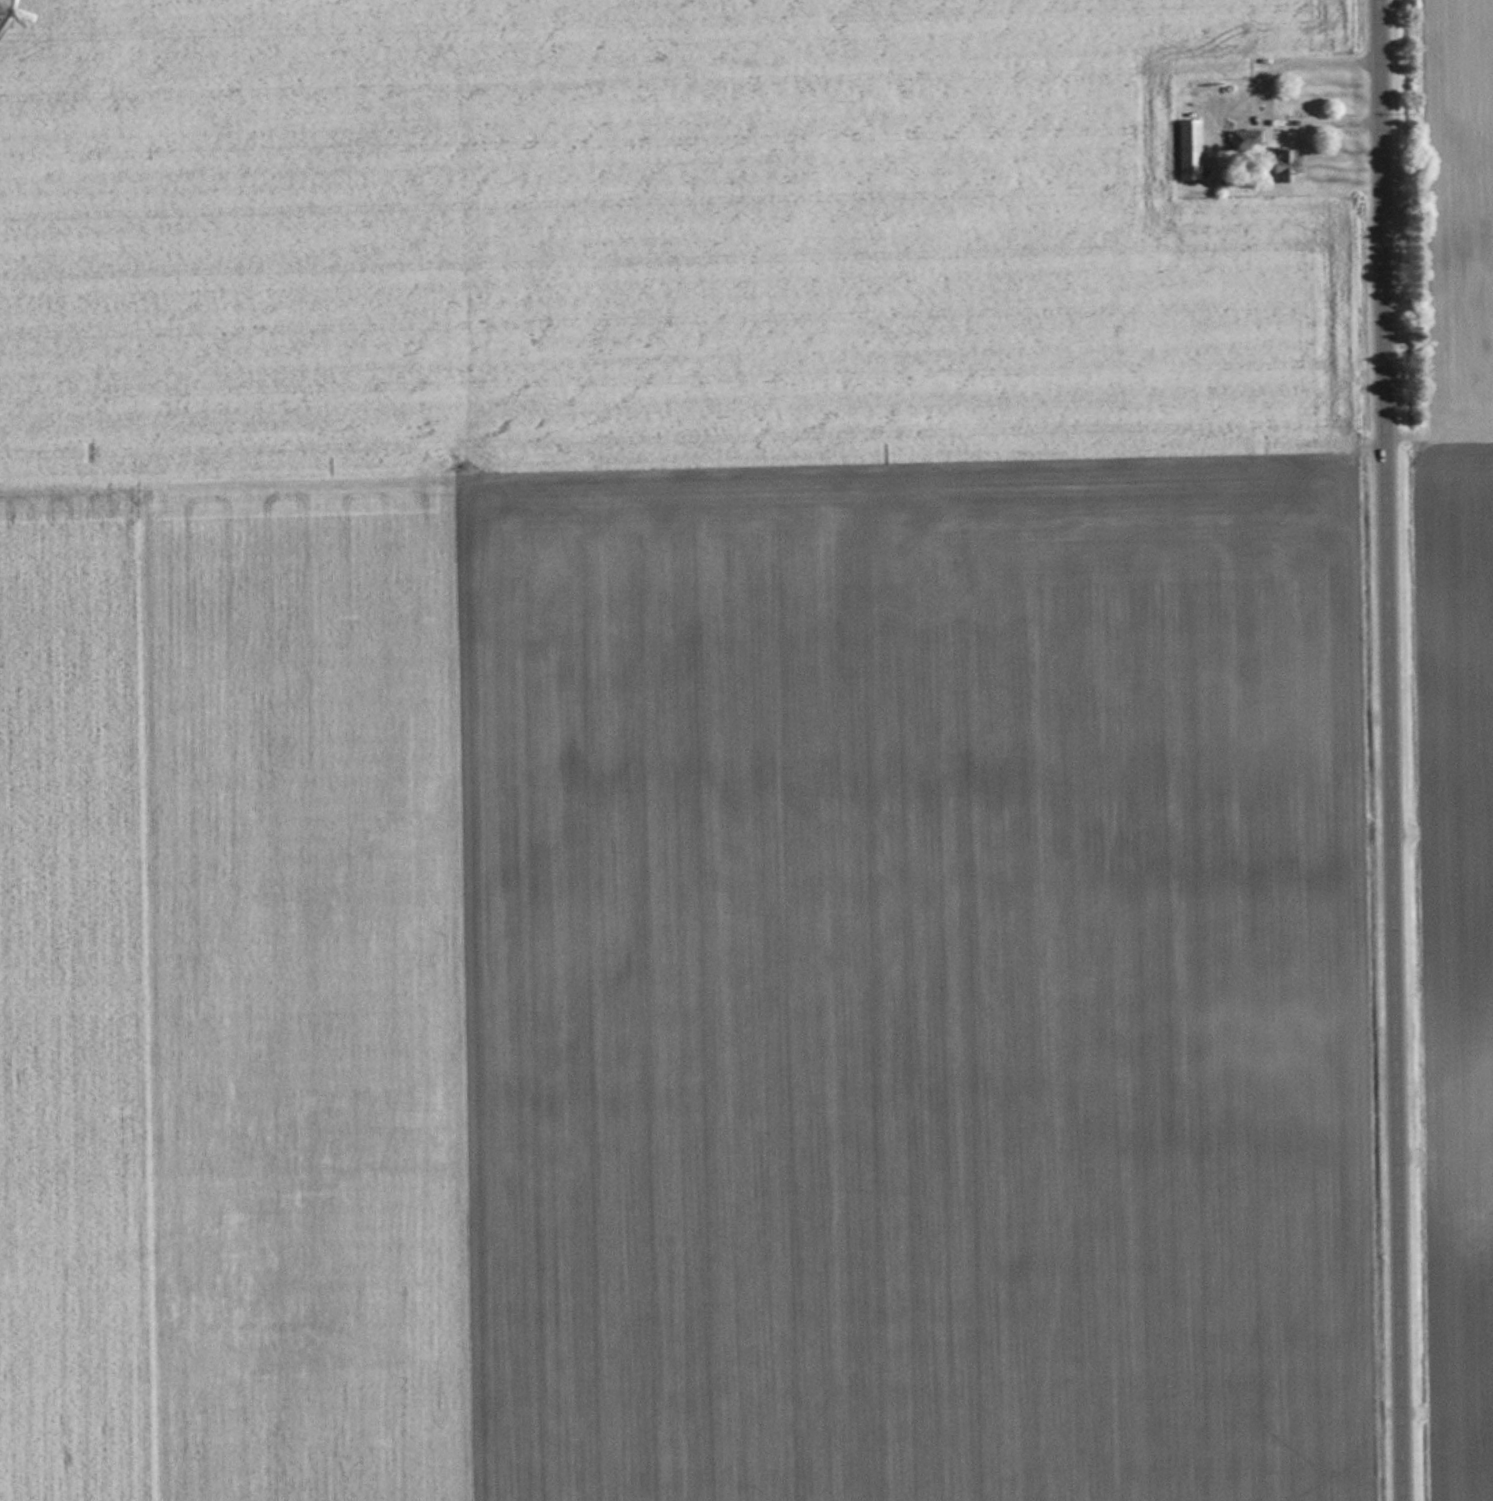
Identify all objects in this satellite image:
building: (1241, 139)
building: (1185, 148)
building: (1279, 159)
road: (1386, 750)

